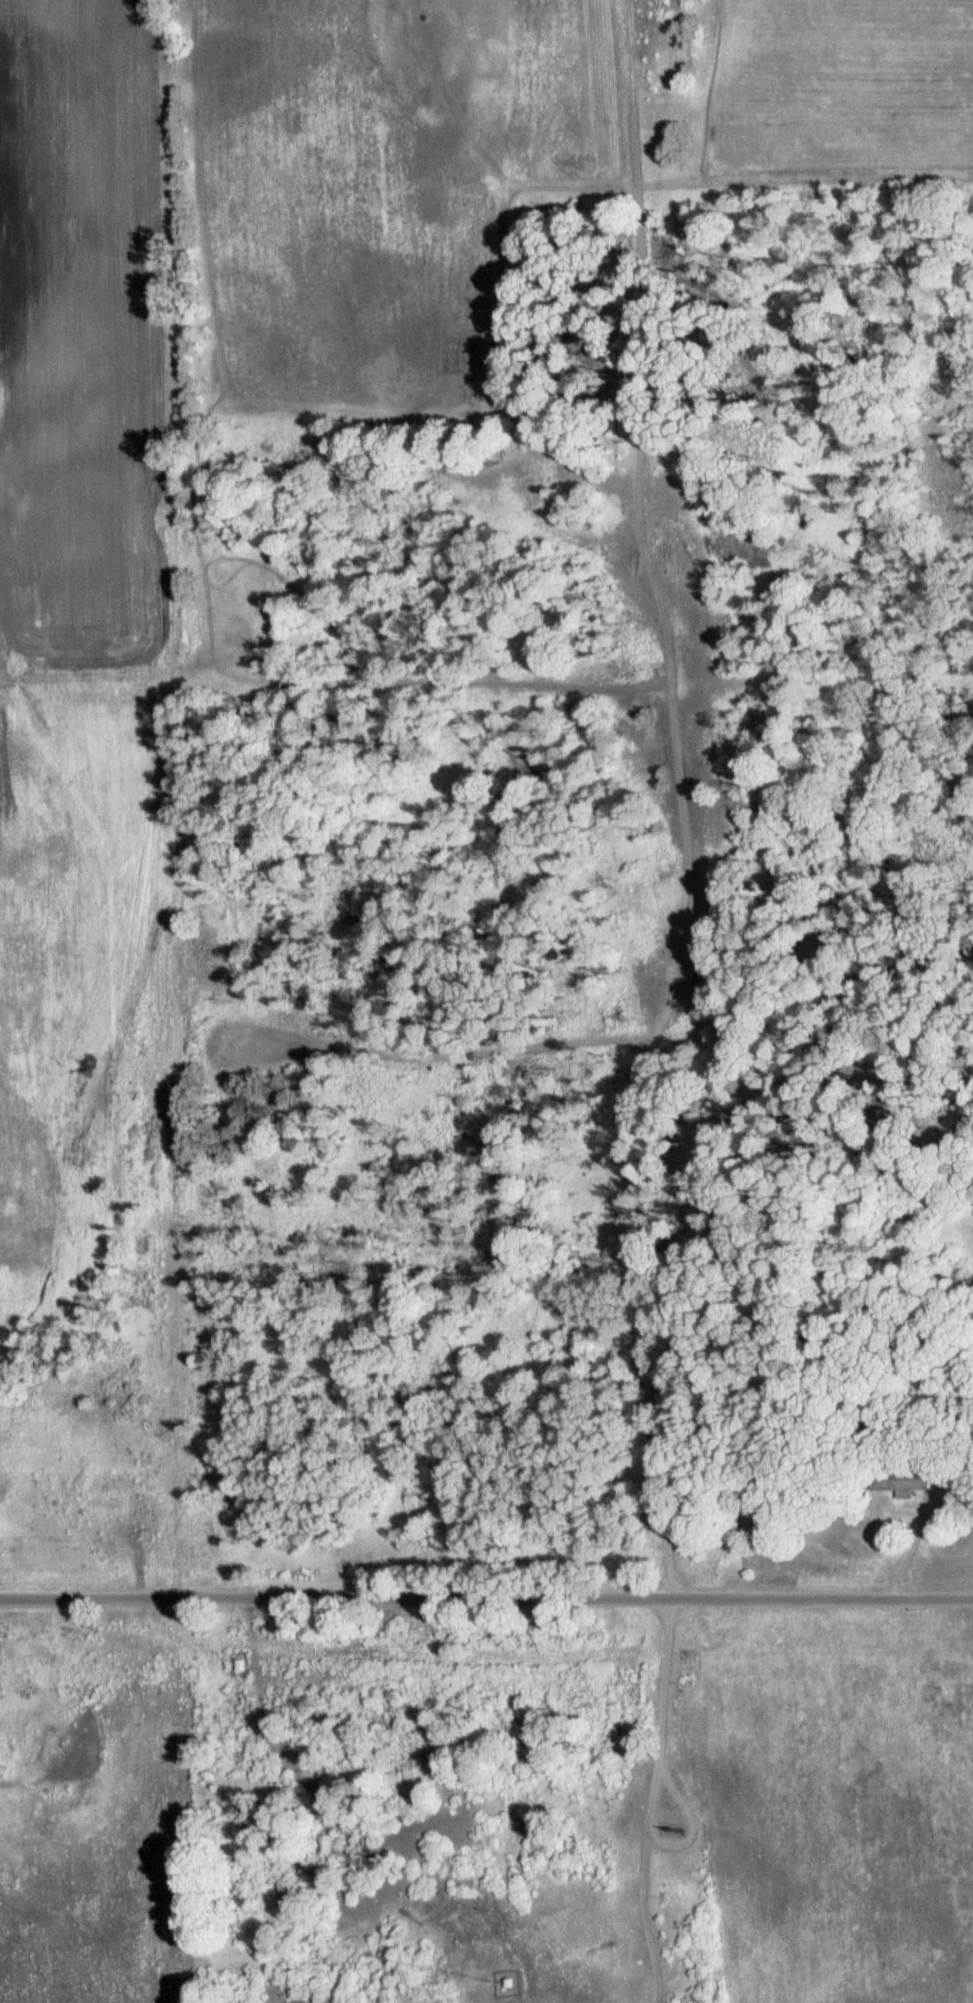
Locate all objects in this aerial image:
road: (803, 176)
road: (82, 696)
building: (673, 826)
petroleum well: (664, 974)
road: (672, 1000)
road: (495, 1065)
road: (920, 1519)
road: (486, 1600)
building: (239, 1669)
petroleum well: (675, 1826)
building: (502, 1983)

